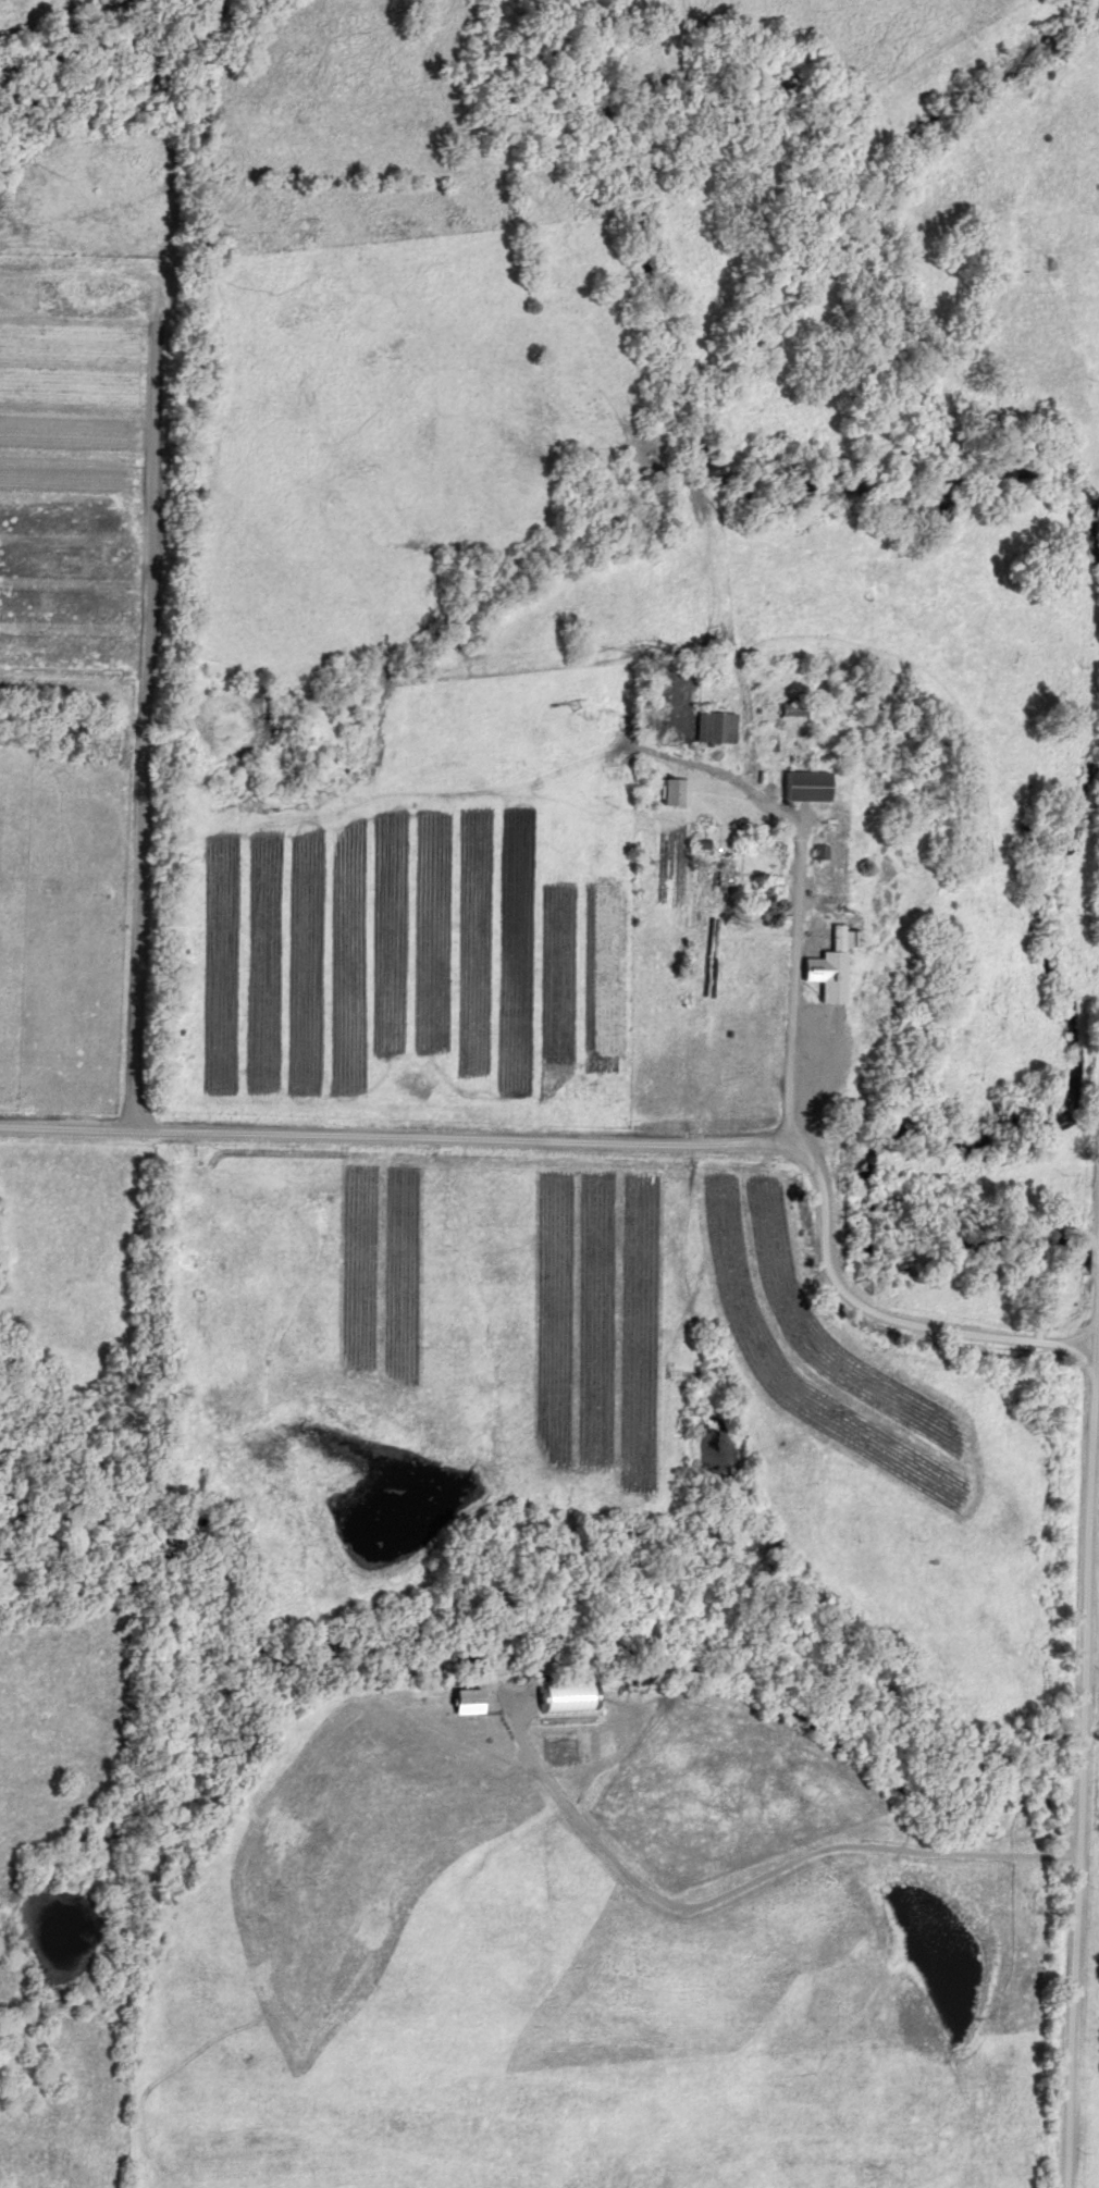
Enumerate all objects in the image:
building: (792, 710)
building: (716, 729)
building: (805, 787)
building: (721, 876)
road: (794, 993)
road: (609, 1145)
road: (1084, 1788)

